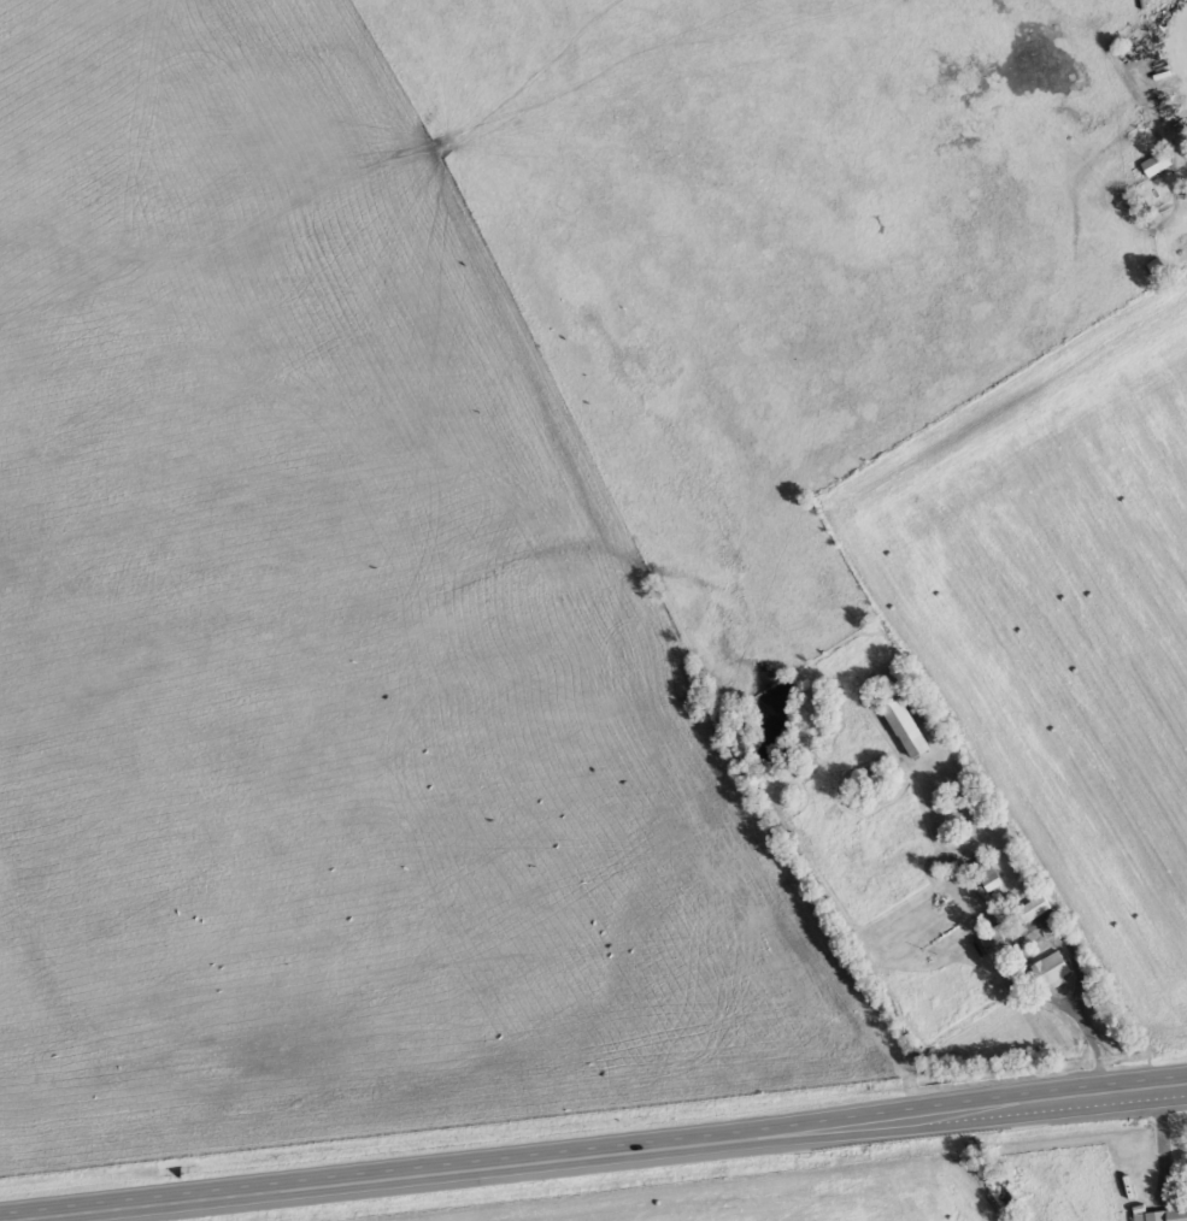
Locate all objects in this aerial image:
building: (1158, 163)
building: (907, 729)
building: (989, 874)
building: (1036, 909)
building: (1003, 932)
building: (1052, 971)
road: (593, 1149)
building: (1167, 1215)

